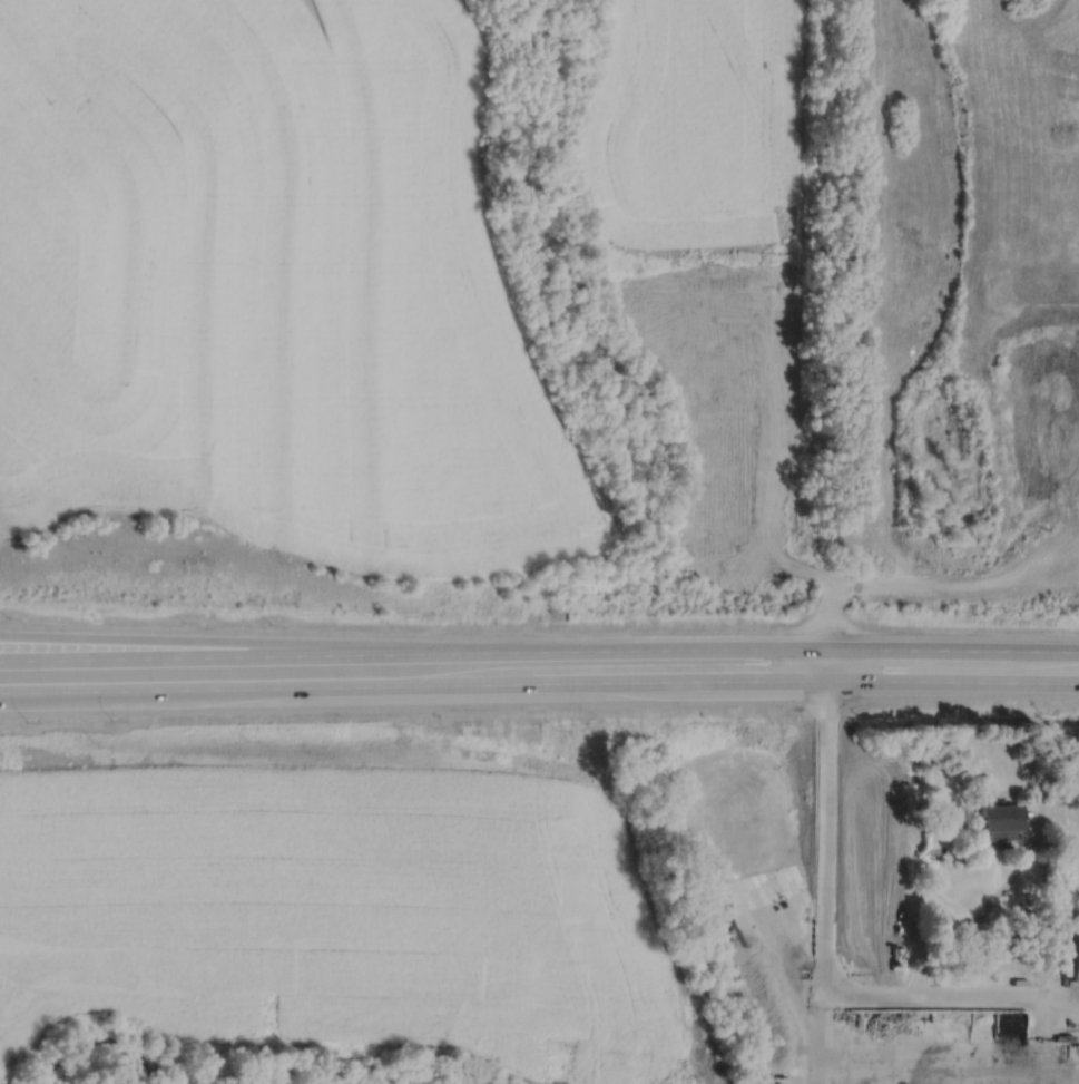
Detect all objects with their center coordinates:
crop: (712, 250)
crop: (267, 287)
road: (932, 584)
street lamp: (8, 616)
street lamp: (96, 619)
street lamp: (184, 621)
street lamp: (271, 622)
road: (274, 643)
road: (687, 650)
road: (924, 650)
road: (1050, 651)
road: (274, 655)
road: (826, 664)
road: (747, 680)
road: (952, 681)
road: (589, 682)
road: (409, 685)
road: (154, 690)
road: (86, 693)
street lamp: (112, 717)
street lamp: (27, 720)
building: (997, 821)
road: (826, 823)
road: (973, 921)
crop: (395, 930)
building: (1076, 959)
road: (945, 995)

